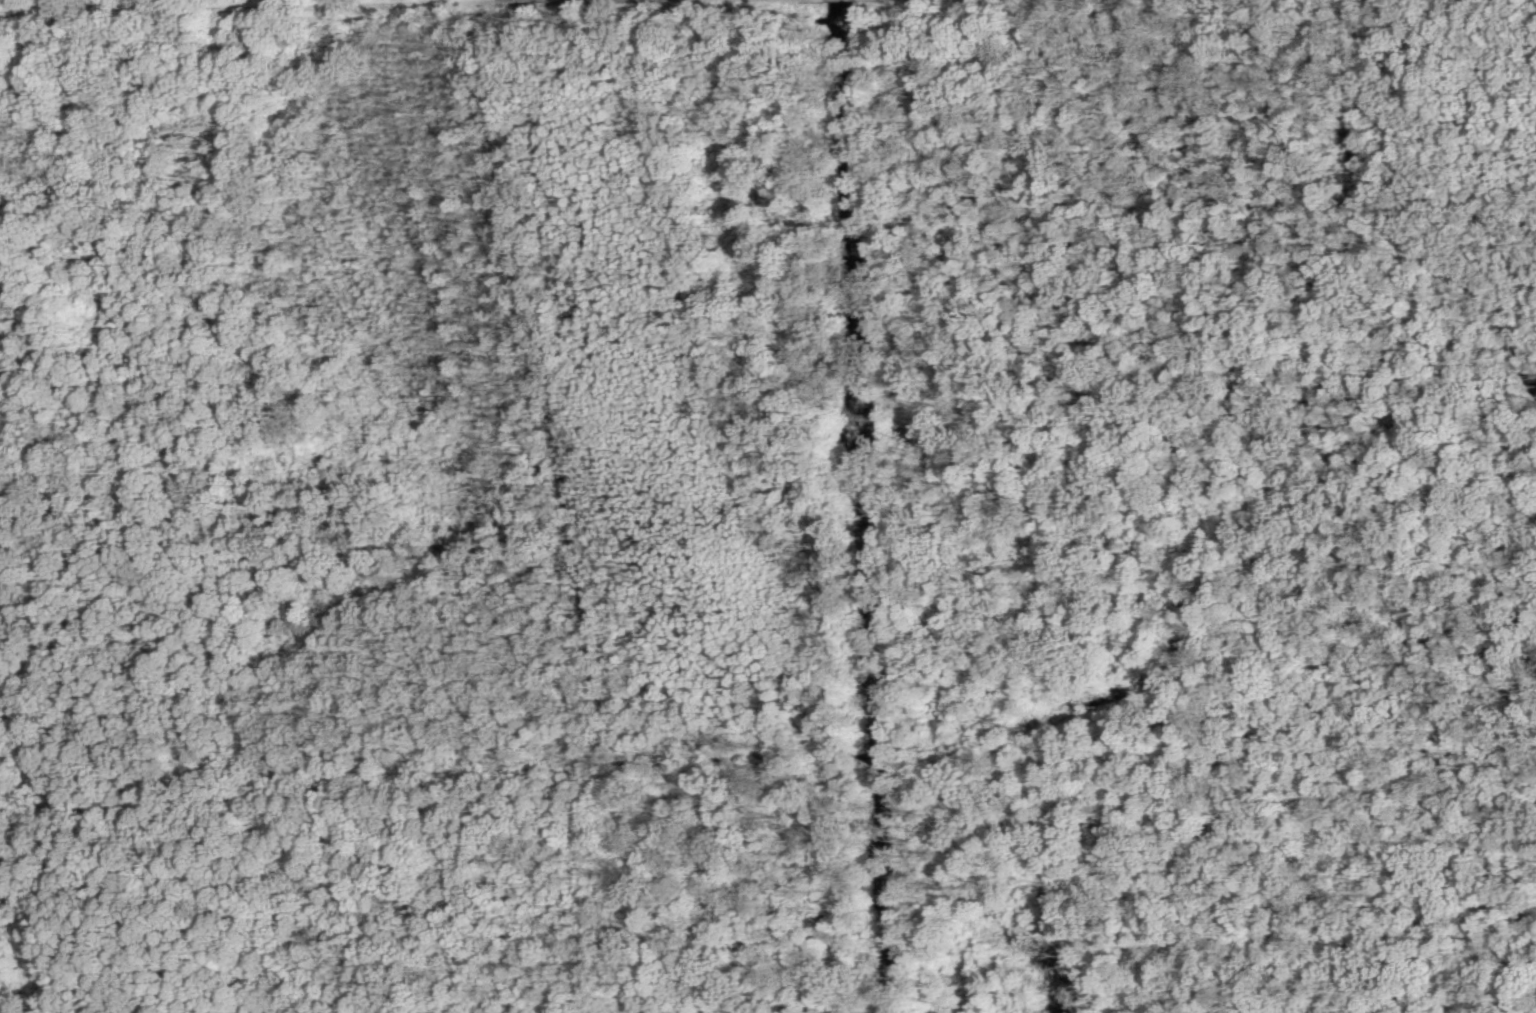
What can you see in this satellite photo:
road: (309, 9)
park: (768, 506)

